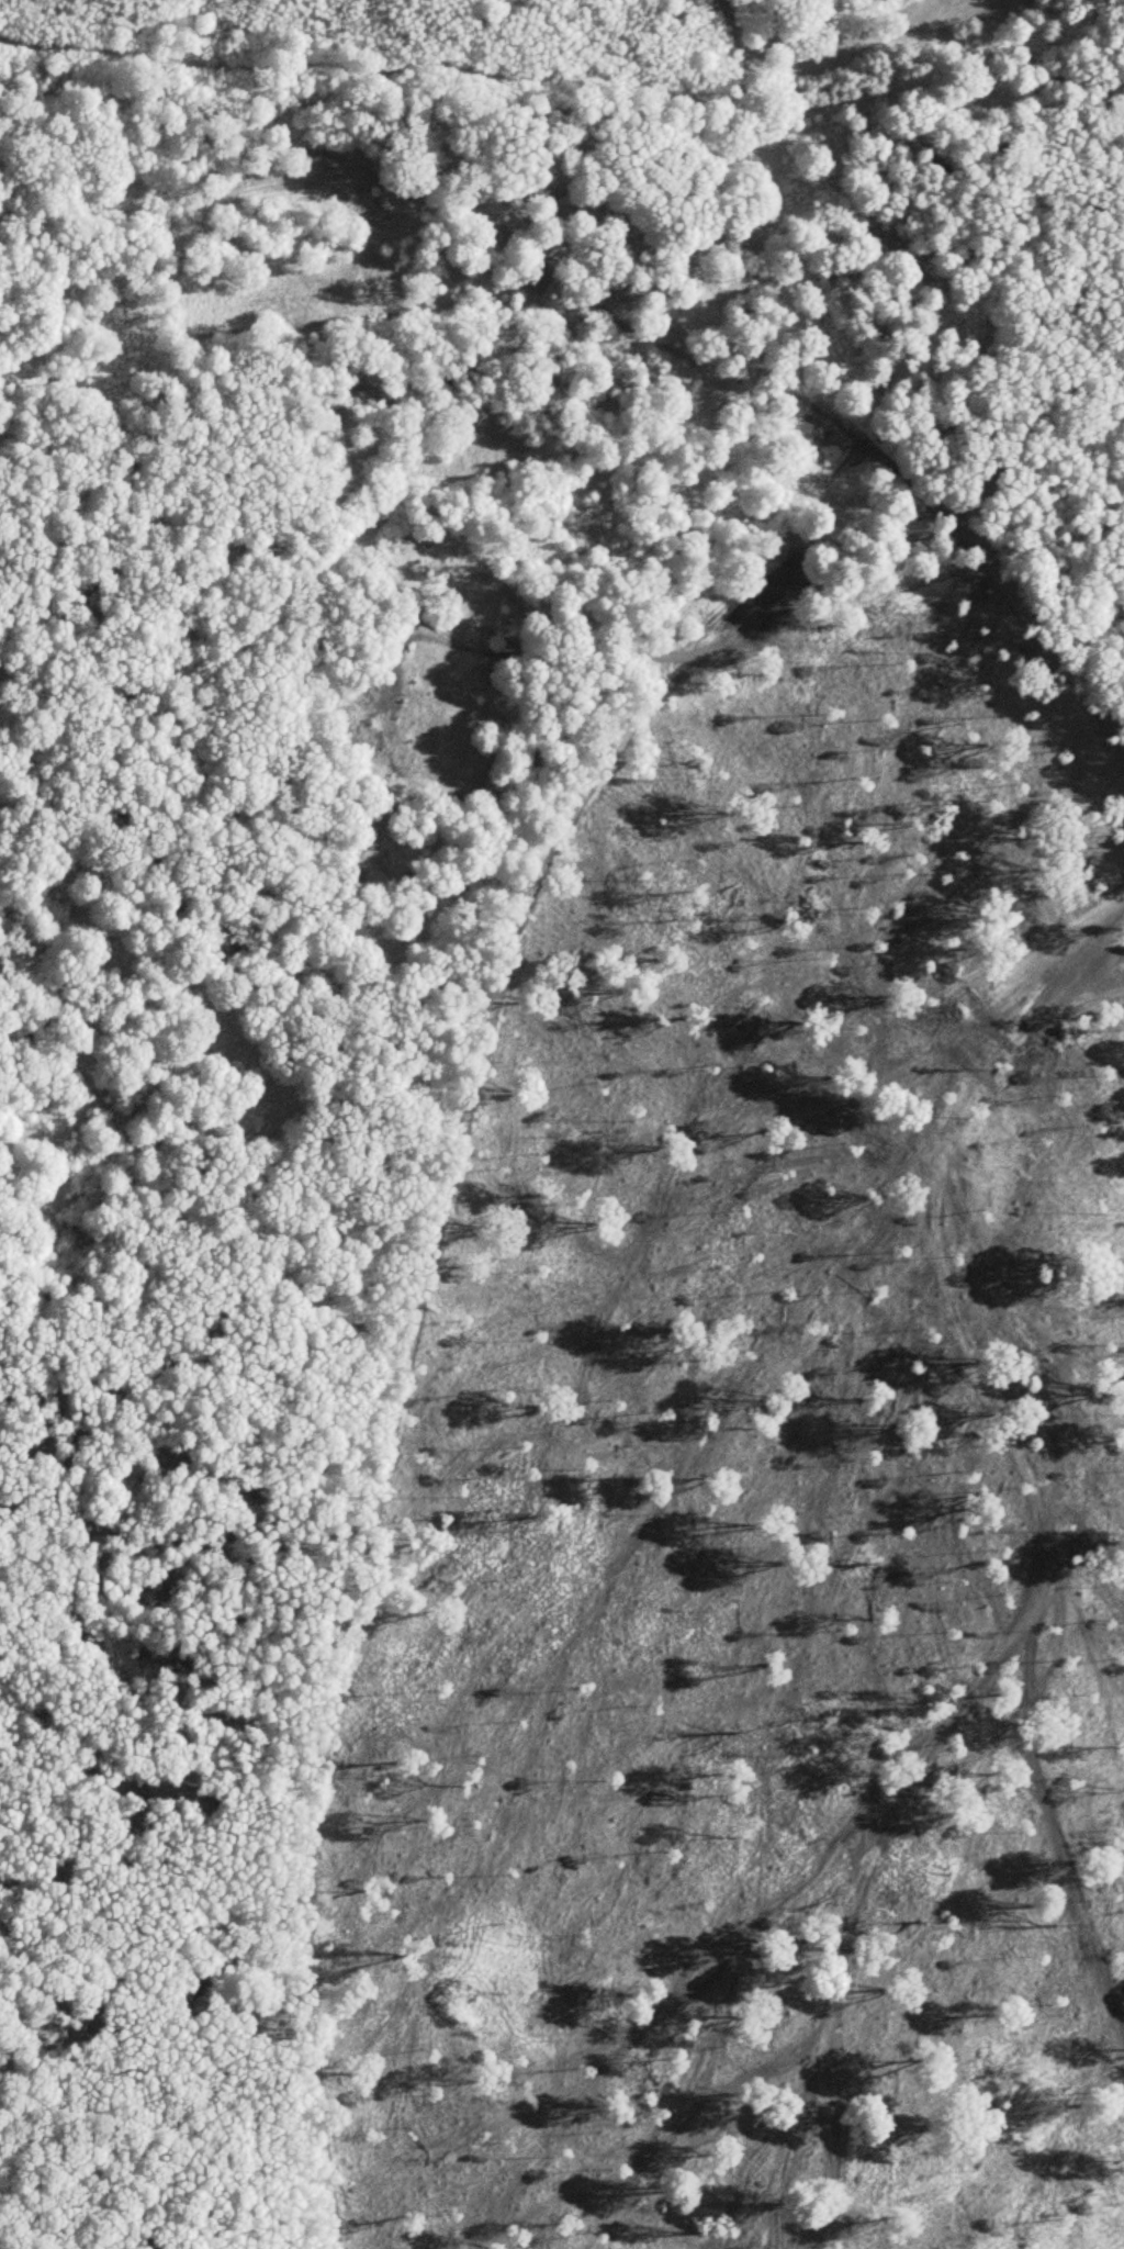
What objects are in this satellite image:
road: (733, 23)
road: (858, 58)
road: (1030, 423)
road: (755, 585)
road: (1050, 631)
road: (462, 1132)
road: (369, 1618)
road: (311, 1976)

